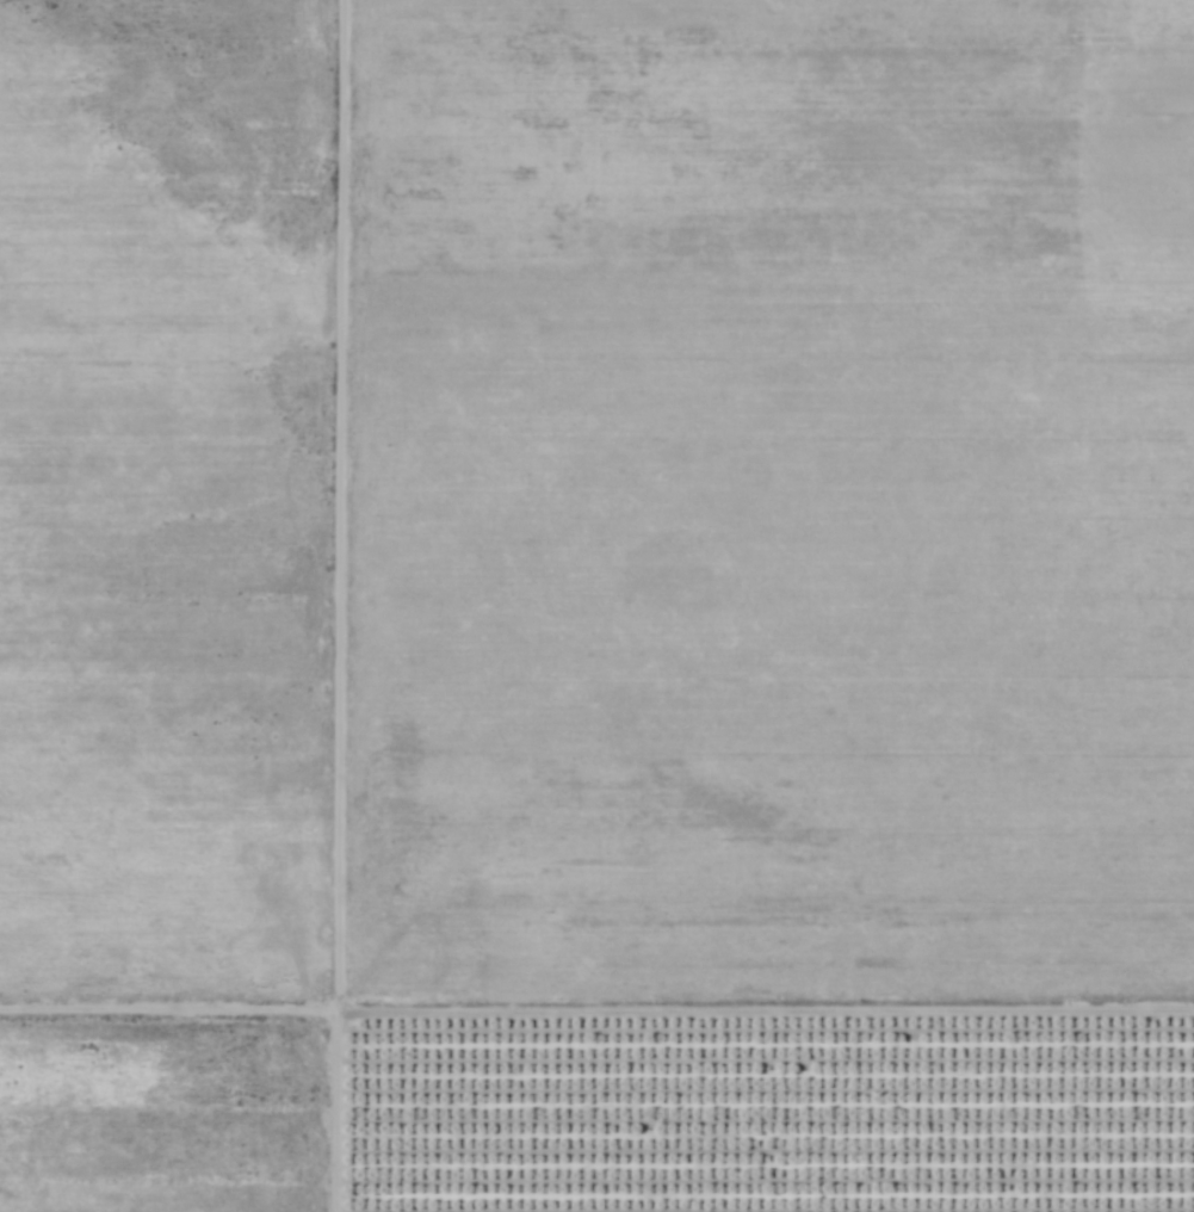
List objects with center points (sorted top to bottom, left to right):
crop: (163, 501)
road: (335, 606)
road: (596, 1016)
crop: (161, 1117)

